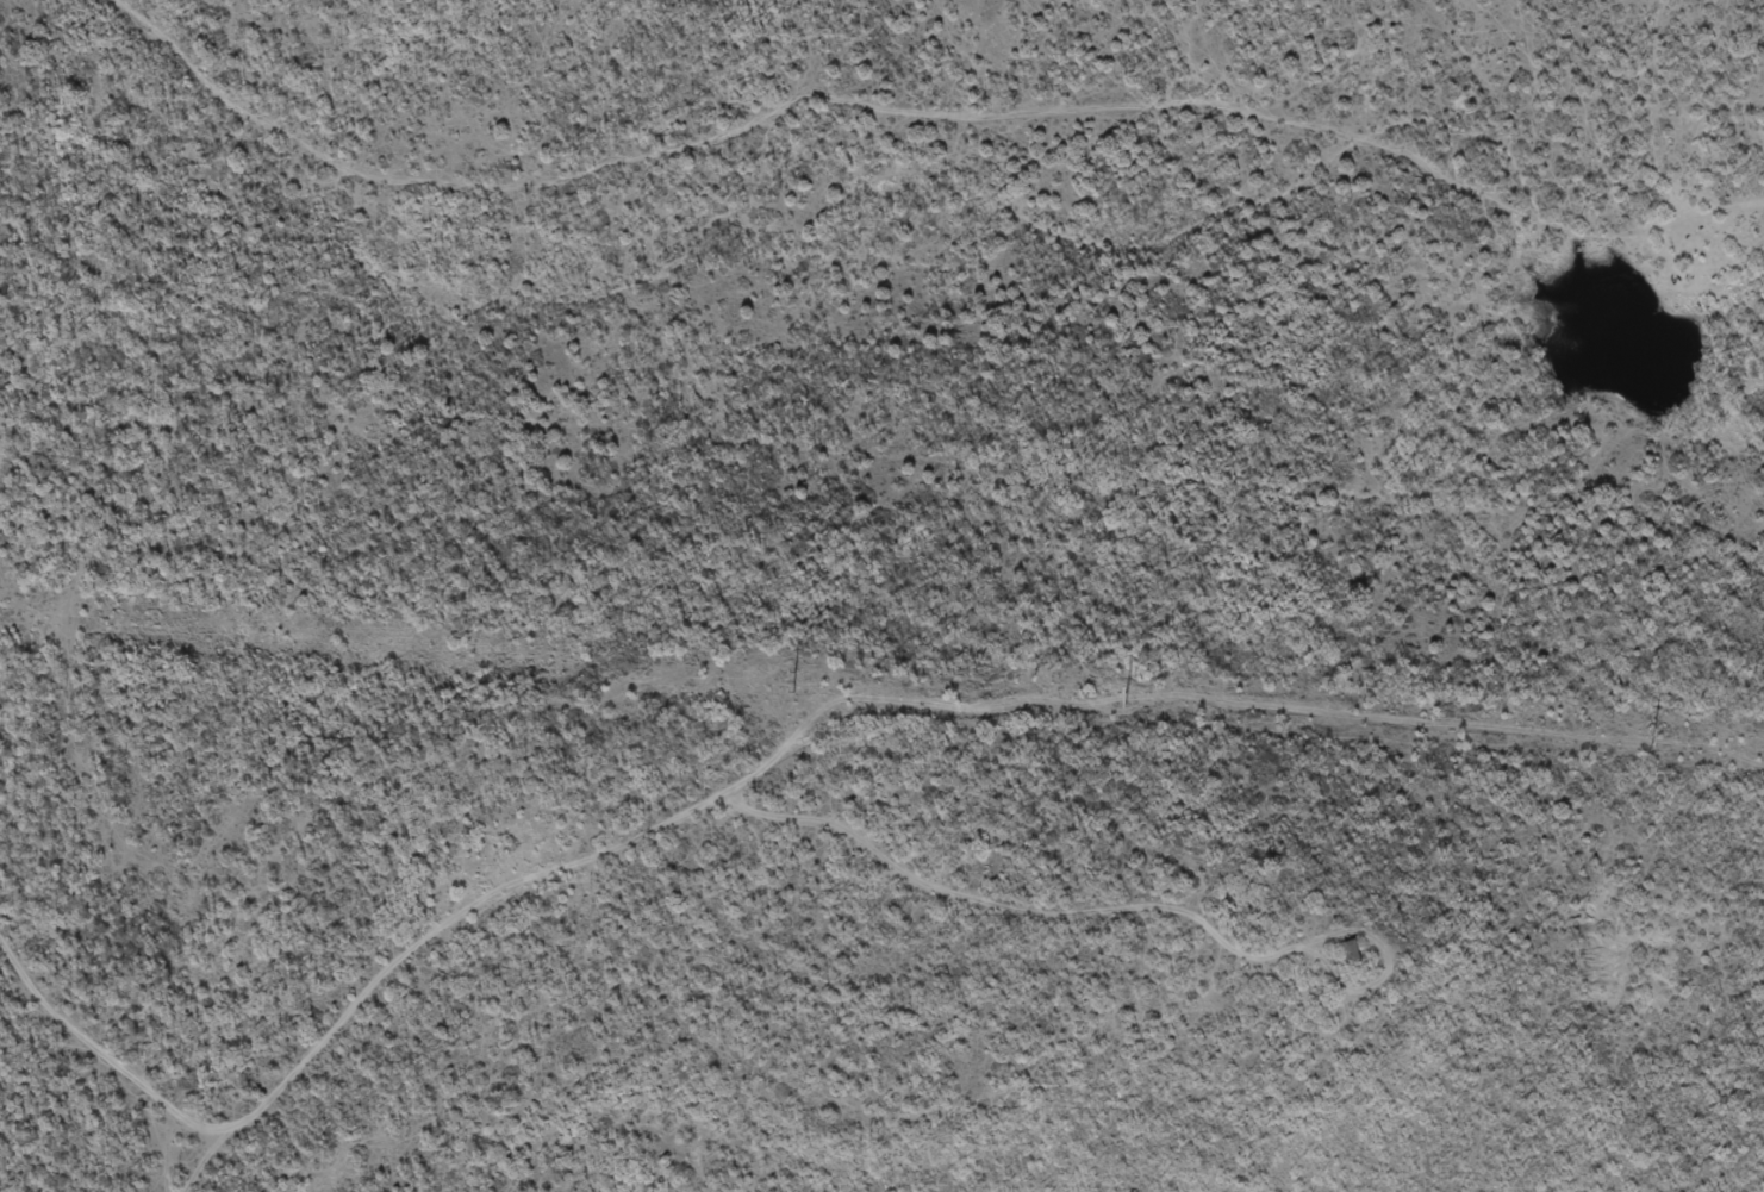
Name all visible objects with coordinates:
power tower: (793, 681)
power tower: (1124, 699)
power tower: (1651, 741)

